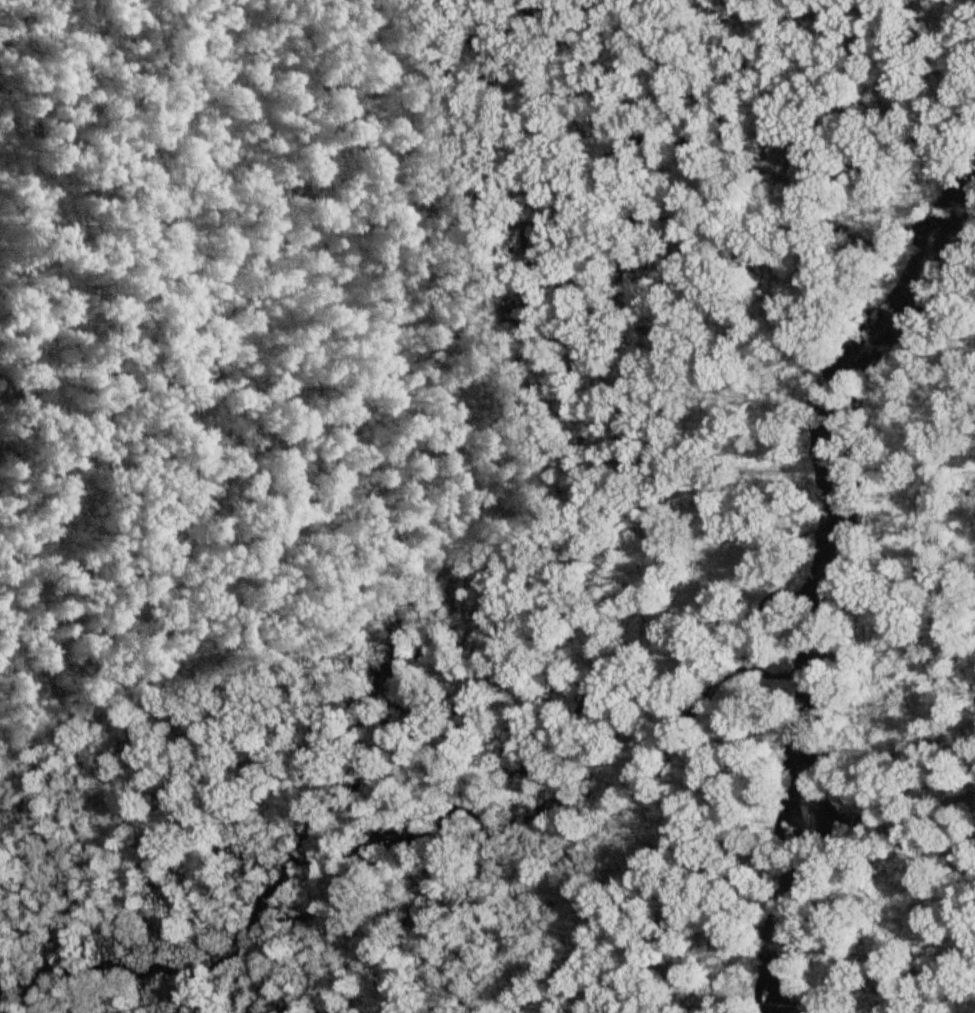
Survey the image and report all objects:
river: (826, 578)

